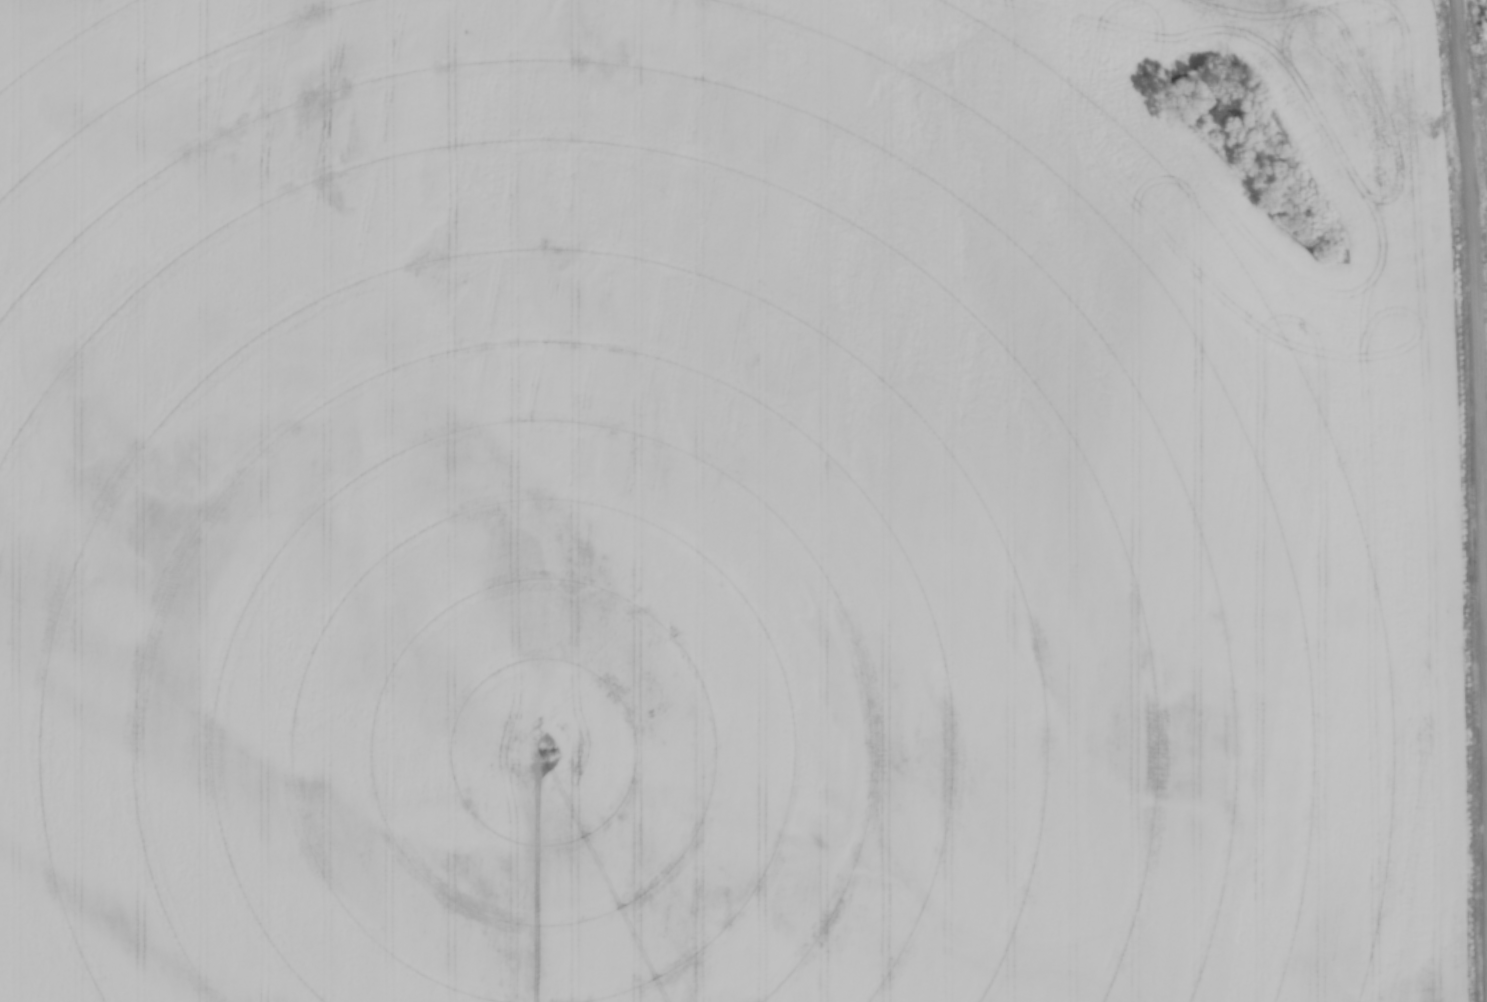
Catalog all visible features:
road: (1477, 408)
road: (1484, 585)
road: (1486, 658)

